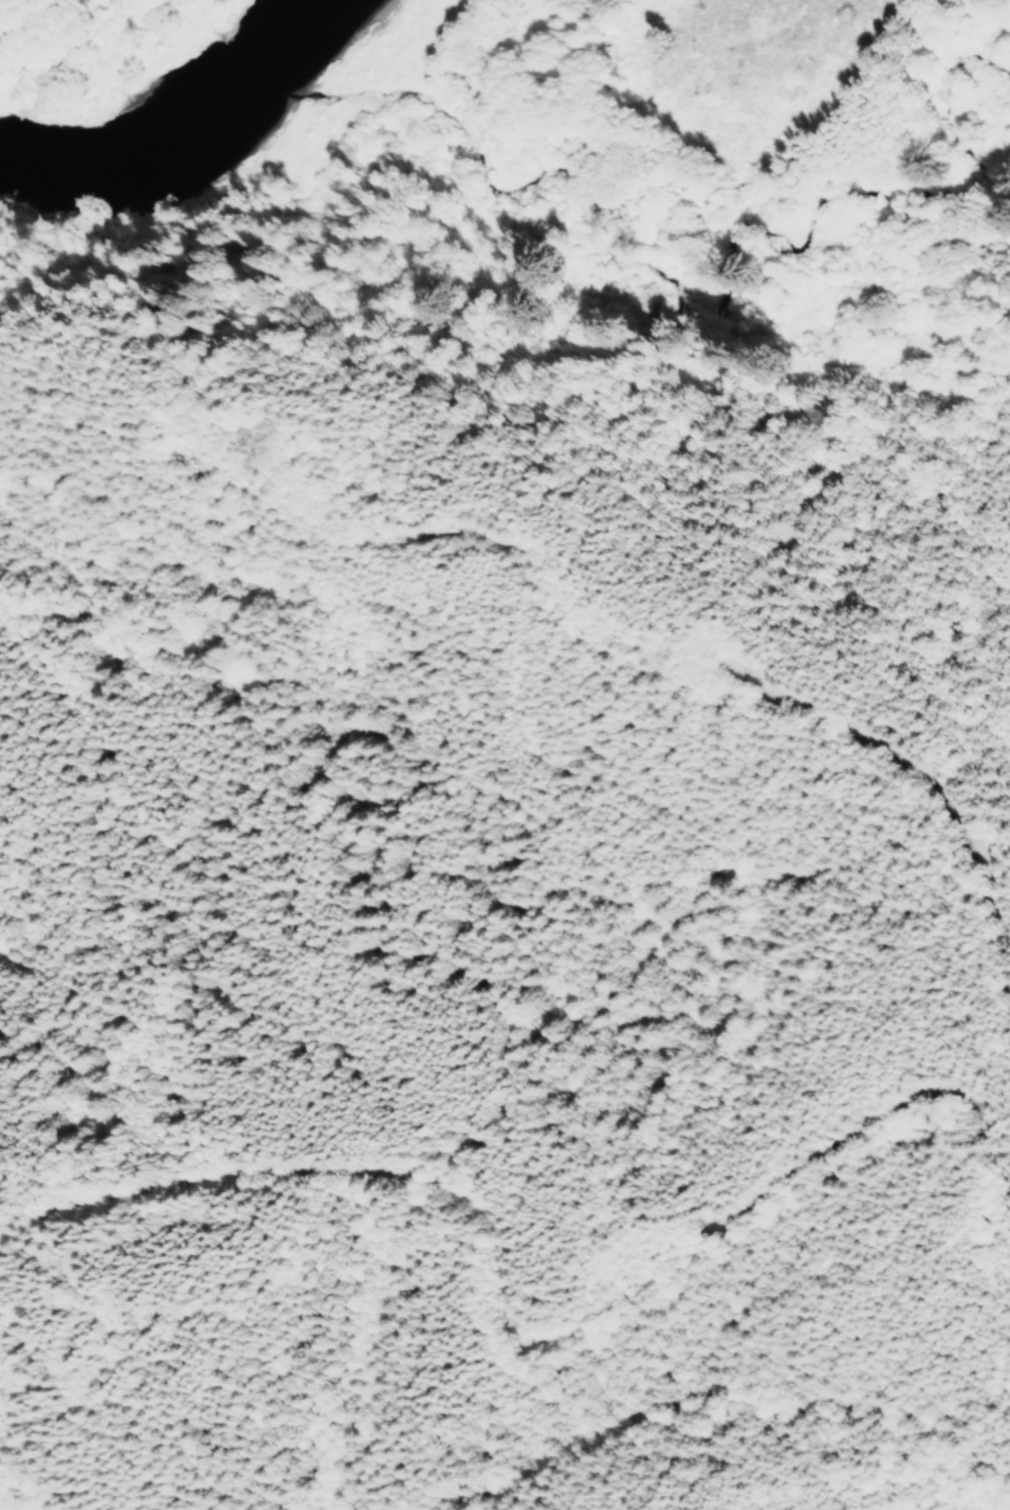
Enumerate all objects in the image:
river: (184, 126)

